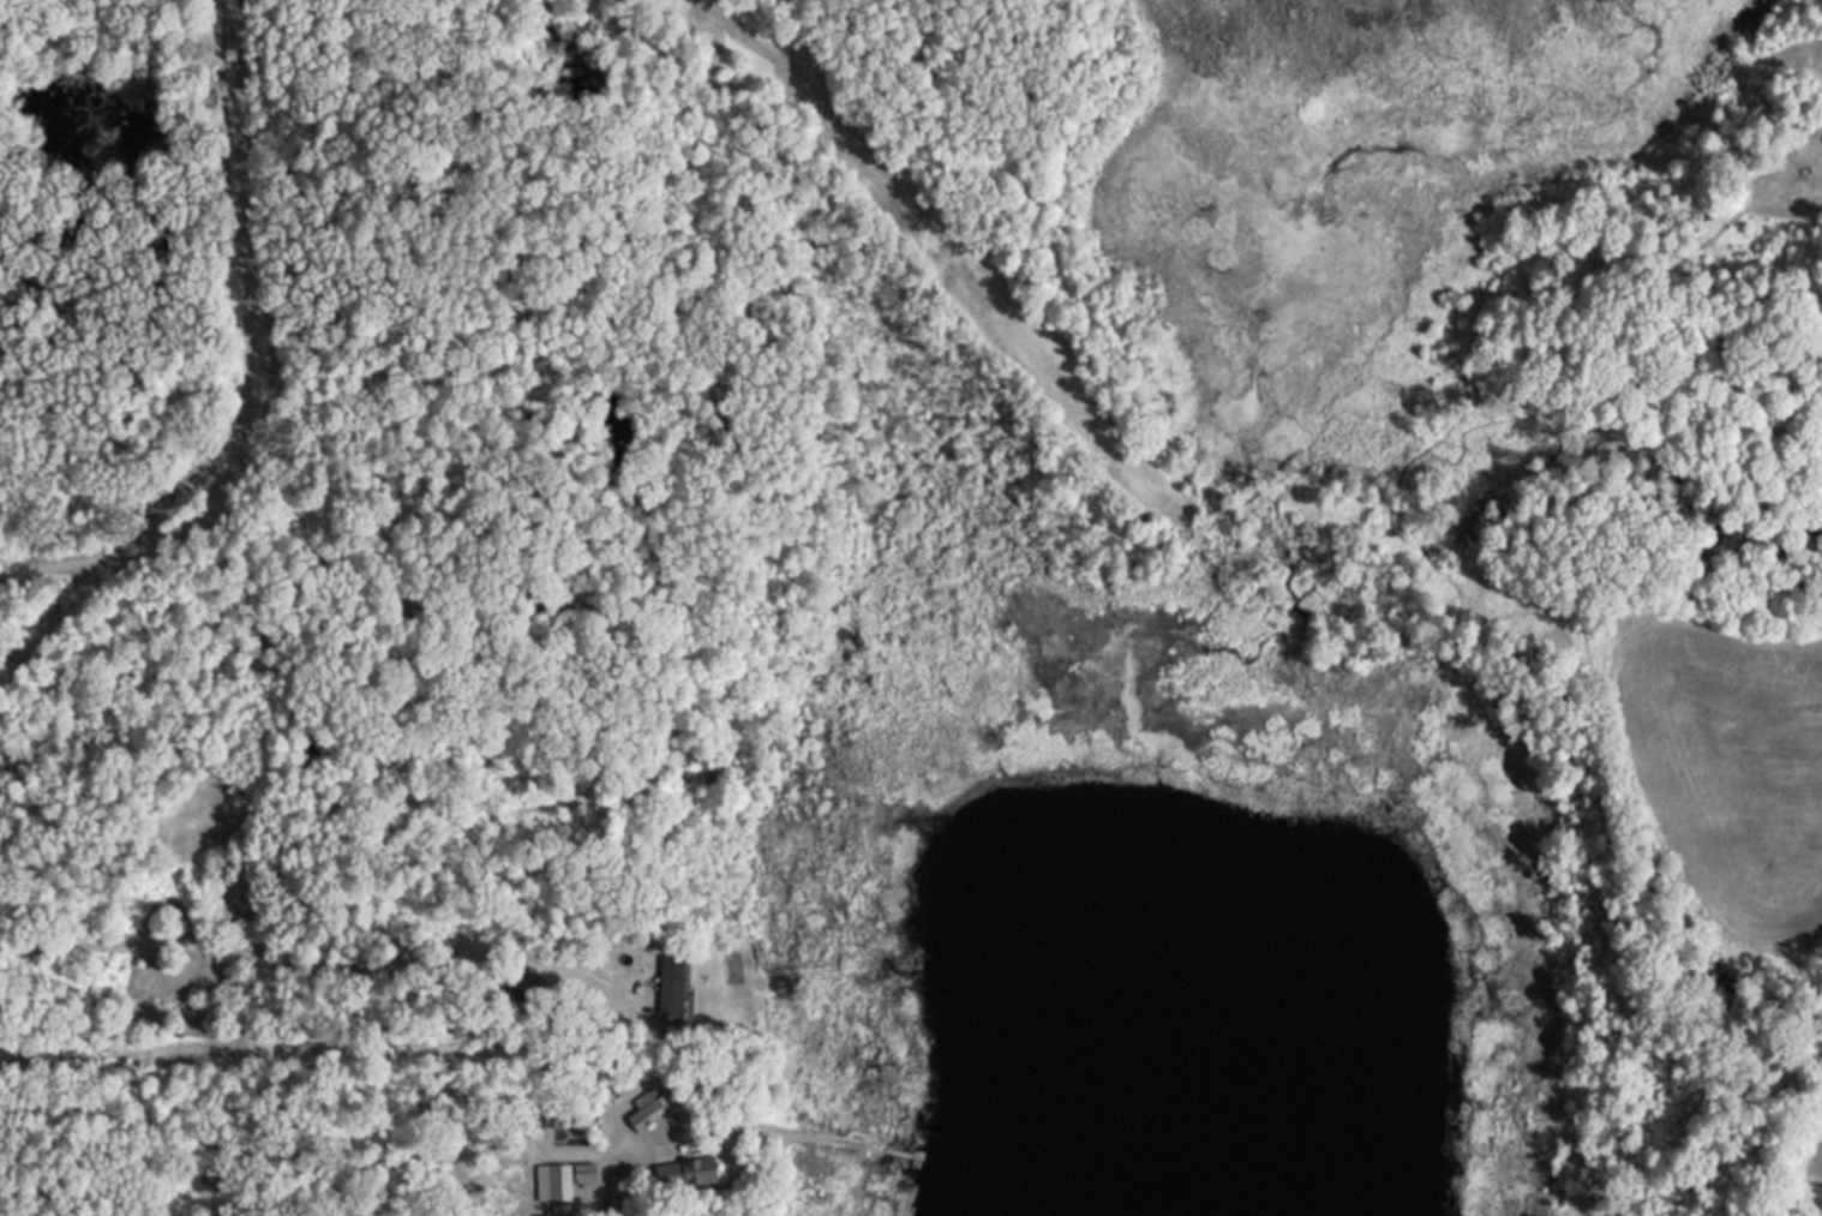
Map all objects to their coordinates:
road: (244, 367)
building: (669, 986)
building: (683, 1172)
building: (574, 1185)

